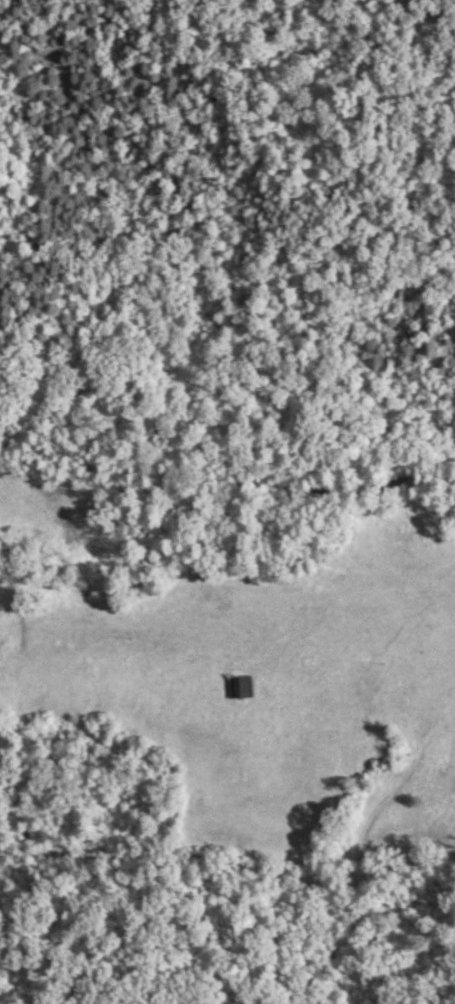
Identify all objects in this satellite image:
road: (229, 879)

